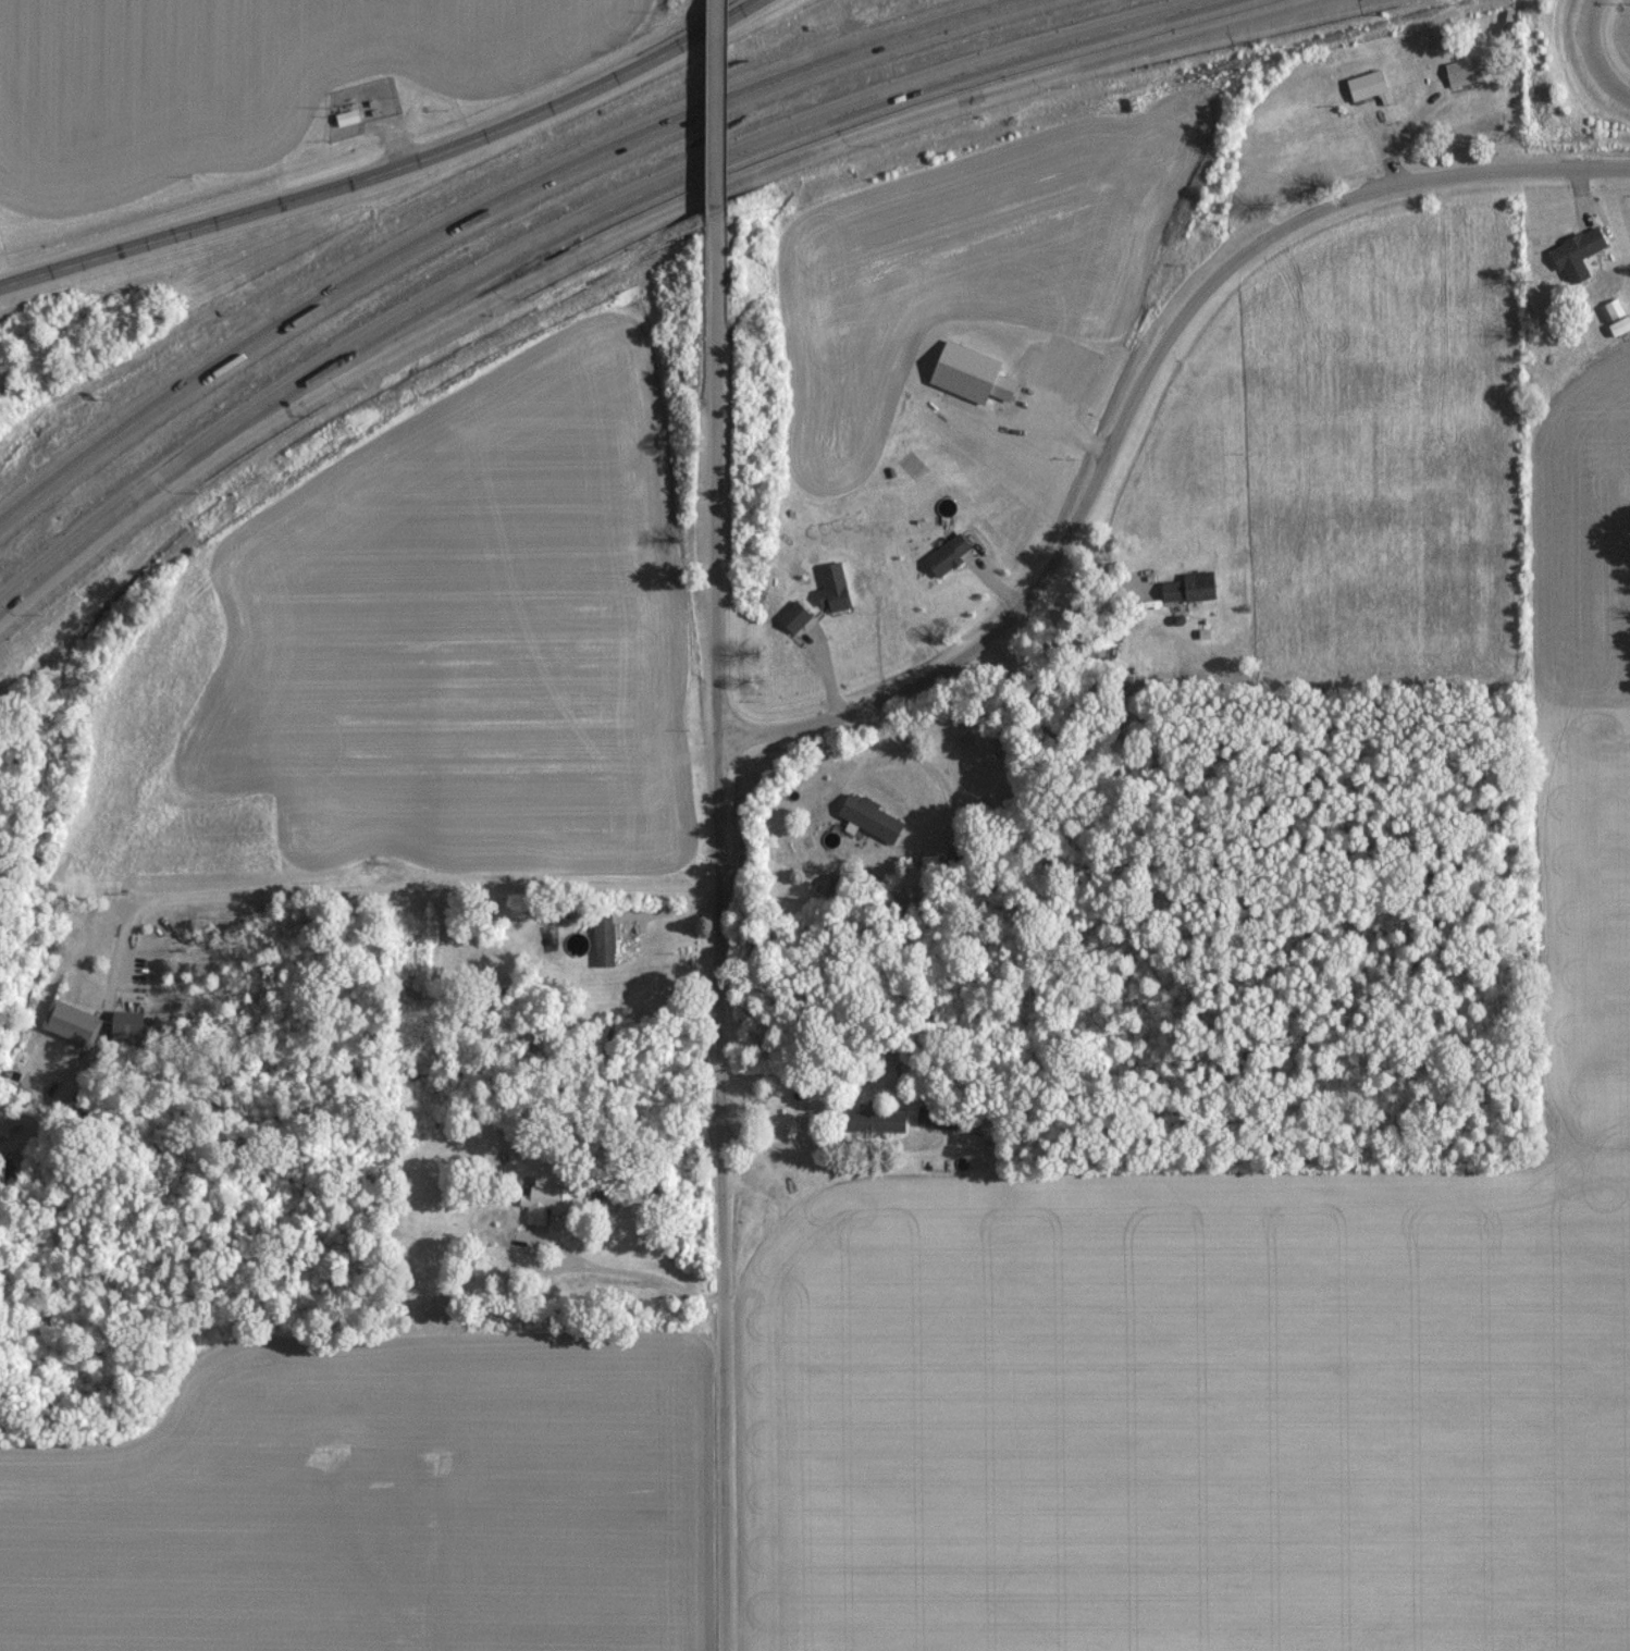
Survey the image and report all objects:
road: (1209, 38)
road: (1593, 59)
building: (1457, 75)
building: (1357, 93)
road: (717, 118)
road: (1582, 170)
road: (391, 173)
road: (682, 204)
road: (482, 208)
road: (569, 224)
building: (1572, 252)
building: (1597, 281)
building: (965, 373)
road: (1116, 439)
road: (1090, 440)
road: (718, 486)
building: (950, 555)
building: (836, 587)
building: (1194, 587)
building: (797, 616)
road: (939, 779)
building: (874, 816)
road: (285, 897)
road: (1034, 923)
building: (606, 939)
building: (878, 1120)
road: (728, 1194)
building: (548, 1202)
road: (479, 1577)

